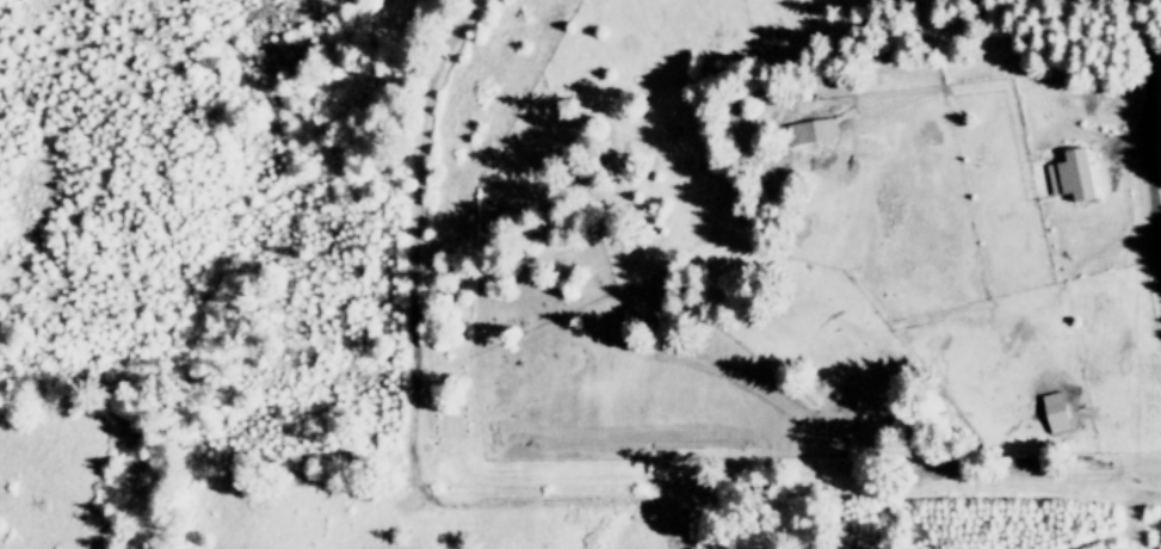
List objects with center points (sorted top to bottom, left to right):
road: (1147, 122)
building: (809, 130)
building: (1068, 173)
building: (866, 388)
building: (1052, 409)

